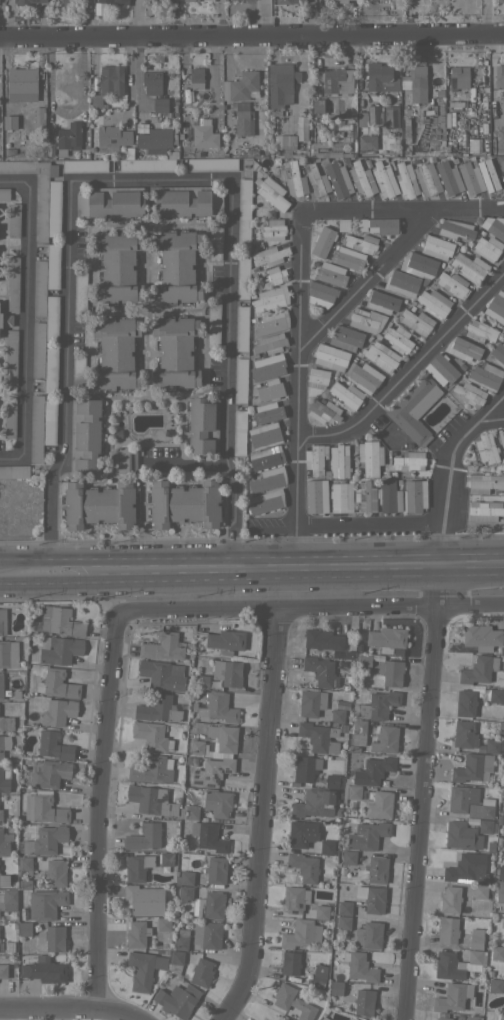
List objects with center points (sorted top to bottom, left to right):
building: (67, 0)
building: (156, 0)
building: (190, 0)
building: (25, 1)
building: (114, 1)
building: (239, 1)
building: (288, 1)
building: (429, 1)
road: (486, 17)
road: (251, 35)
building: (499, 76)
building: (379, 77)
building: (458, 77)
building: (196, 78)
building: (111, 80)
building: (334, 80)
building: (152, 82)
building: (417, 83)
building: (22, 84)
building: (280, 84)
building: (240, 86)
building: (95, 100)
building: (159, 104)
building: (317, 104)
building: (391, 114)
building: (37, 116)
building: (362, 118)
building: (379, 118)
building: (243, 119)
building: (9, 122)
building: (404, 130)
building: (203, 133)
building: (68, 136)
building: (109, 139)
building: (155, 139)
building: (366, 141)
building: (211, 164)
building: (84, 165)
building: (146, 165)
building: (23, 166)
building: (503, 168)
building: (503, 171)
building: (491, 175)
road: (148, 178)
building: (293, 178)
building: (361, 178)
building: (426, 178)
building: (448, 178)
building: (470, 178)
building: (316, 179)
building: (338, 179)
building: (384, 179)
building: (406, 180)
building: (270, 190)
building: (4, 194)
building: (186, 201)
building: (110, 202)
building: (40, 206)
building: (54, 208)
building: (243, 211)
building: (13, 219)
building: (377, 225)
building: (500, 227)
building: (455, 229)
building: (273, 230)
building: (322, 241)
building: (215, 243)
building: (361, 243)
building: (437, 247)
building: (487, 247)
building: (268, 256)
building: (347, 258)
building: (418, 264)
building: (52, 266)
building: (177, 266)
building: (118, 267)
building: (469, 267)
building: (331, 273)
building: (242, 276)
building: (271, 277)
building: (401, 282)
road: (366, 283)
building: (12, 284)
road: (299, 284)
building: (453, 284)
building: (39, 287)
building: (322, 289)
building: (503, 289)
building: (80, 292)
building: (270, 298)
building: (381, 301)
building: (434, 302)
building: (496, 307)
building: (51, 317)
building: (5, 319)
road: (24, 319)
building: (366, 320)
building: (416, 321)
building: (271, 322)
building: (213, 324)
building: (241, 328)
building: (480, 330)
building: (346, 338)
building: (396, 339)
building: (269, 343)
building: (37, 349)
building: (462, 349)
building: (175, 352)
building: (116, 353)
building: (498, 353)
building: (380, 355)
building: (330, 356)
building: (10, 357)
building: (268, 364)
road: (409, 367)
building: (445, 368)
building: (50, 370)
building: (77, 370)
building: (317, 377)
building: (364, 377)
building: (240, 380)
building: (477, 383)
building: (270, 390)
building: (346, 395)
building: (414, 408)
building: (323, 411)
building: (267, 412)
road: (492, 416)
building: (9, 420)
building: (49, 422)
building: (202, 425)
building: (36, 428)
building: (239, 432)
building: (264, 435)
building: (85, 436)
building: (501, 437)
building: (486, 448)
building: (370, 456)
building: (265, 457)
building: (124, 459)
building: (315, 459)
building: (339, 461)
building: (408, 461)
road: (450, 462)
road: (142, 467)
building: (14, 471)
building: (268, 479)
building: (484, 482)
building: (414, 495)
building: (365, 496)
building: (389, 496)
building: (317, 497)
building: (341, 497)
building: (265, 501)
building: (184, 503)
building: (99, 505)
building: (484, 510)
road: (336, 524)
road: (472, 551)
road: (245, 555)
road: (25, 557)
road: (439, 563)
road: (51, 571)
road: (251, 579)
road: (312, 607)
building: (2, 621)
building: (60, 621)
building: (33, 625)
building: (481, 637)
building: (386, 638)
building: (322, 639)
building: (225, 641)
building: (162, 646)
building: (59, 649)
building: (502, 650)
building: (398, 651)
building: (8, 653)
building: (363, 661)
building: (478, 669)
building: (320, 671)
building: (227, 672)
building: (390, 672)
building: (162, 674)
building: (348, 678)
building: (202, 681)
building: (211, 683)
building: (218, 683)
building: (57, 684)
building: (1, 686)
building: (495, 695)
building: (311, 702)
building: (465, 702)
building: (193, 705)
building: (379, 705)
building: (218, 707)
building: (159, 708)
building: (57, 711)
building: (336, 716)
building: (6, 723)
building: (501, 725)
building: (343, 727)
building: (358, 732)
building: (463, 733)
building: (151, 735)
building: (318, 736)
building: (385, 739)
building: (216, 742)
building: (4, 743)
building: (494, 744)
building: (53, 746)
building: (480, 747)
building: (353, 748)
building: (191, 760)
building: (502, 760)
building: (168, 763)
building: (473, 767)
building: (151, 769)
building: (303, 769)
building: (373, 770)
building: (212, 771)
building: (49, 773)
building: (4, 778)
building: (331, 781)
building: (353, 791)
road: (425, 797)
building: (457, 799)
building: (151, 800)
building: (216, 802)
building: (315, 803)
building: (380, 804)
building: (44, 807)
building: (503, 807)
road: (101, 809)
building: (482, 809)
building: (337, 810)
building: (189, 812)
building: (1, 816)
road: (263, 816)
building: (499, 819)
building: (487, 826)
building: (503, 829)
building: (301, 833)
building: (367, 835)
building: (460, 835)
building: (208, 836)
building: (143, 837)
building: (5, 841)
building: (43, 841)
building: (499, 841)
building: (326, 846)
building: (348, 857)
building: (165, 858)
building: (24, 863)
building: (303, 866)
building: (137, 867)
building: (464, 867)
building: (376, 869)
building: (216, 870)
building: (55, 872)
building: (500, 872)
building: (186, 877)
building: (481, 878)
building: (4, 879)
building: (324, 879)
building: (480, 891)
building: (499, 891)
building: (183, 893)
building: (295, 898)
building: (371, 898)
building: (9, 899)
building: (144, 899)
building: (450, 899)
building: (45, 903)
building: (209, 905)
building: (344, 907)
building: (321, 912)
building: (24, 913)
building: (343, 922)
building: (163, 923)
building: (12, 925)
building: (0, 929)
building: (24, 929)
building: (447, 930)
building: (301, 933)
building: (136, 934)
building: (207, 934)
building: (369, 935)
building: (54, 938)
building: (476, 938)
building: (181, 939)
building: (503, 942)
building: (8, 946)
building: (497, 952)
building: (475, 960)
building: (176, 961)
building: (291, 962)
building: (448, 965)
building: (360, 967)
building: (143, 969)
building: (3, 970)
building: (44, 970)
building: (201, 972)
building: (319, 976)
building: (350, 985)
building: (495, 985)
building: (336, 987)
building: (452, 997)
building: (177, 999)
building: (293, 1001)
building: (364, 1002)
road: (63, 1007)
building: (501, 1016)
building: (471, 1017)
building: (320, 1018)
building: (444, 1018)
building: (277, 1019)
building: (283, 1019)
building: (353, 1019)

